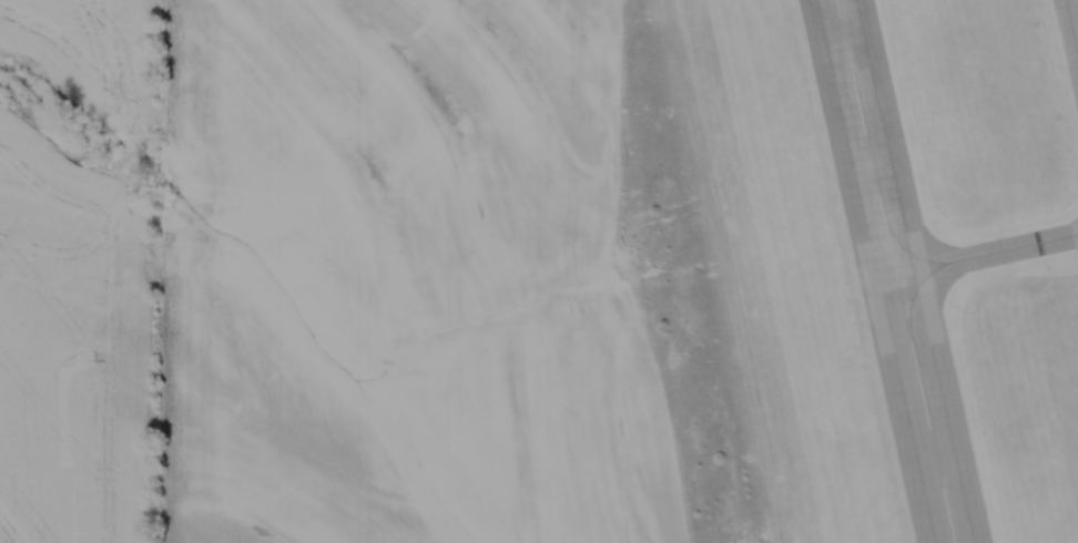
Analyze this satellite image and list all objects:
airport taxiway: (1071, 29)
airport taxiway: (985, 256)
airport runway: (891, 271)

